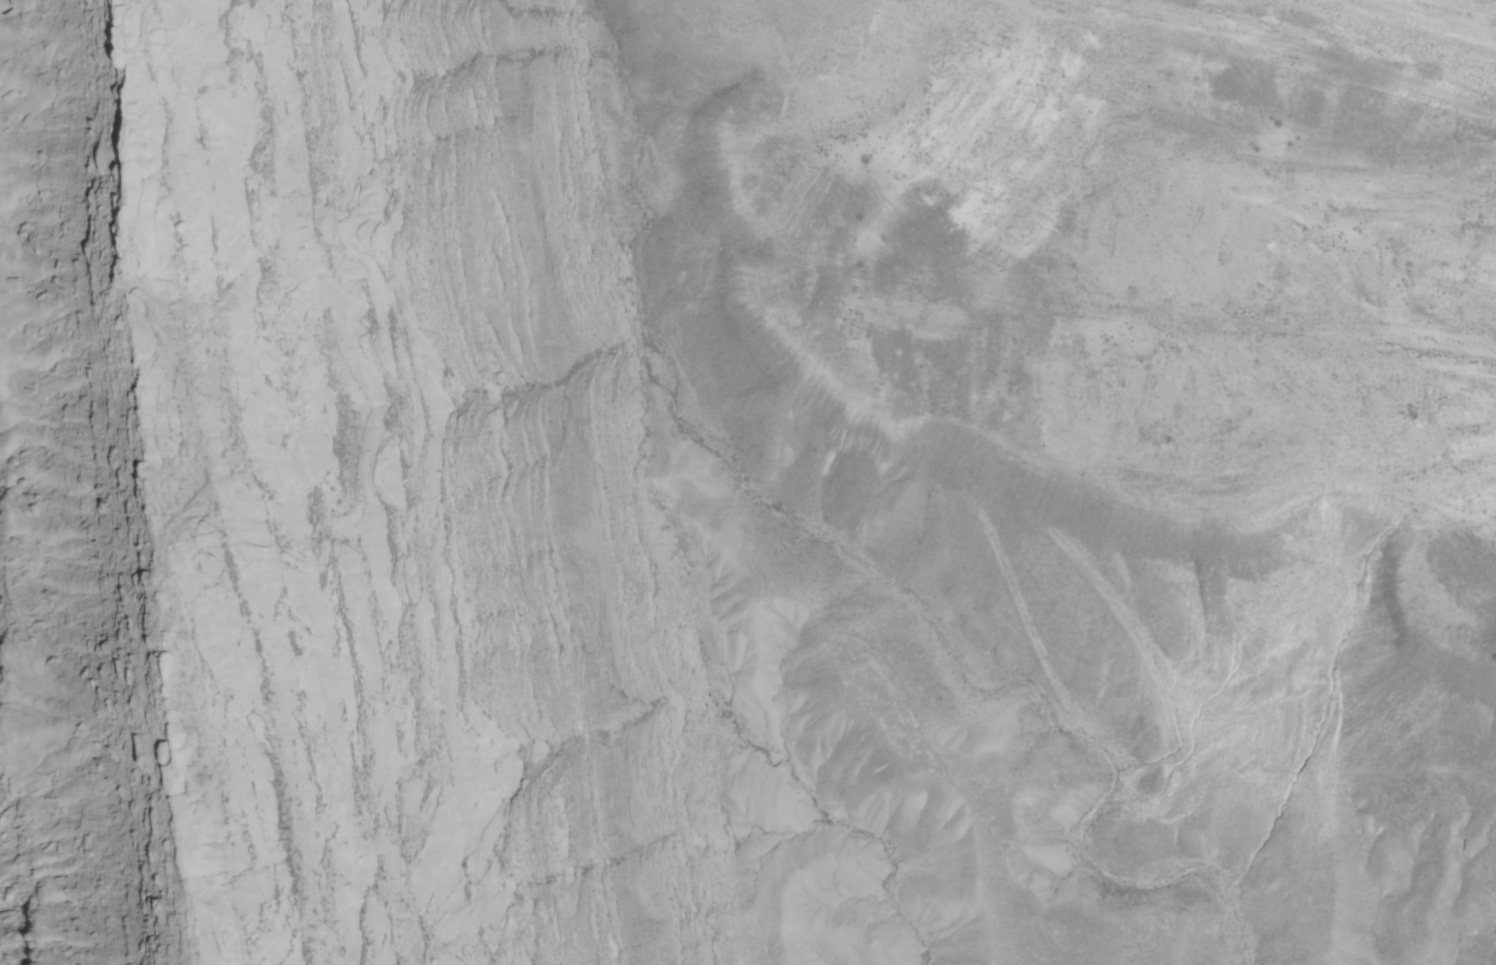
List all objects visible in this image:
road: (1218, 67)

